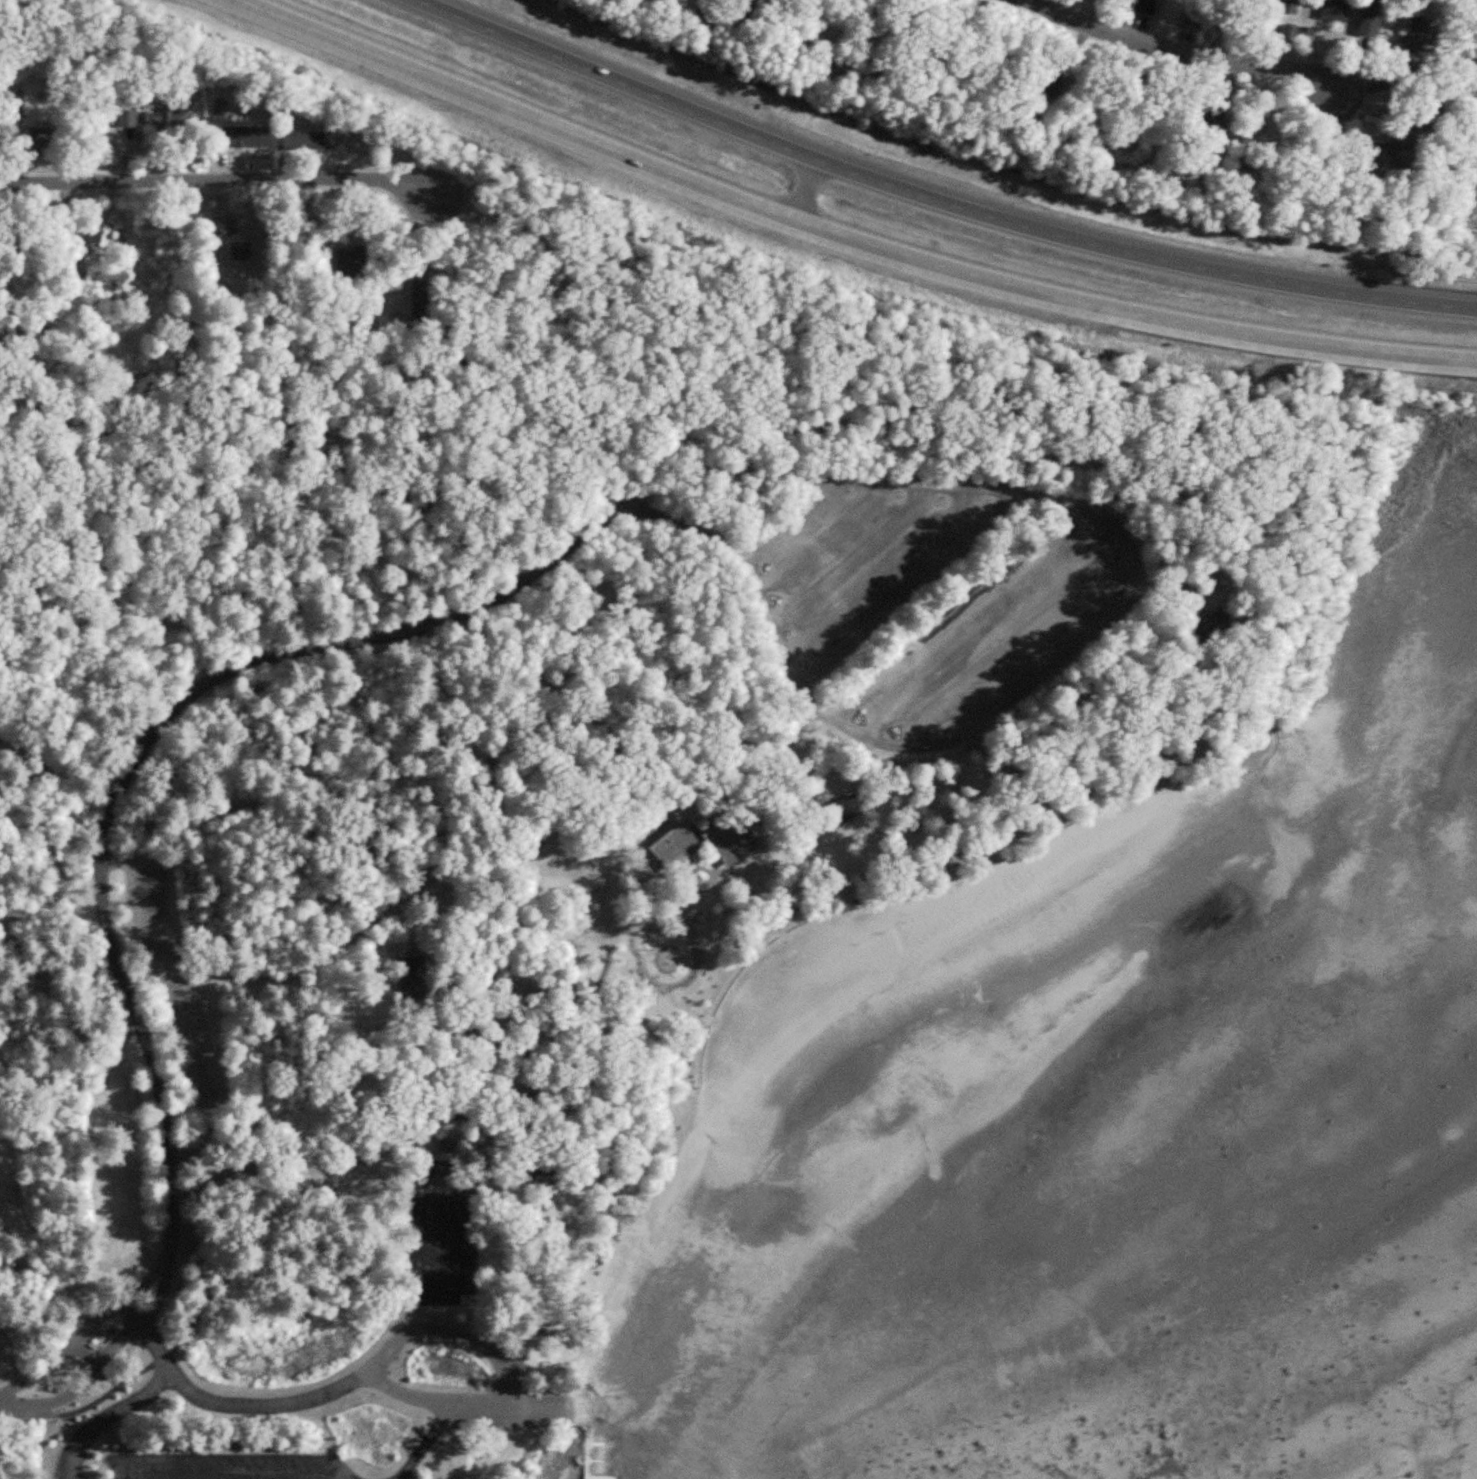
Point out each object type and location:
building: (712, 7)
building: (1150, 7)
building: (1200, 18)
building: (1423, 36)
road: (1179, 50)
building: (150, 118)
building: (246, 137)
building: (36, 140)
building: (307, 146)
building: (1404, 149)
road: (219, 180)
road: (935, 199)
building: (91, 235)
road: (841, 235)
building: (243, 254)
building: (173, 259)
building: (360, 276)
road: (691, 524)
road: (831, 543)
road: (882, 568)
road: (987, 624)
road: (1021, 651)
building: (848, 809)
park: (572, 817)
building: (679, 843)
building: (738, 847)
road: (457, 1175)
road: (483, 1344)
road: (67, 1354)
road: (81, 1380)
road: (118, 1389)
road: (284, 1405)
road: (467, 1407)
road: (109, 1415)
road: (427, 1445)
parking lot: (227, 1466)

